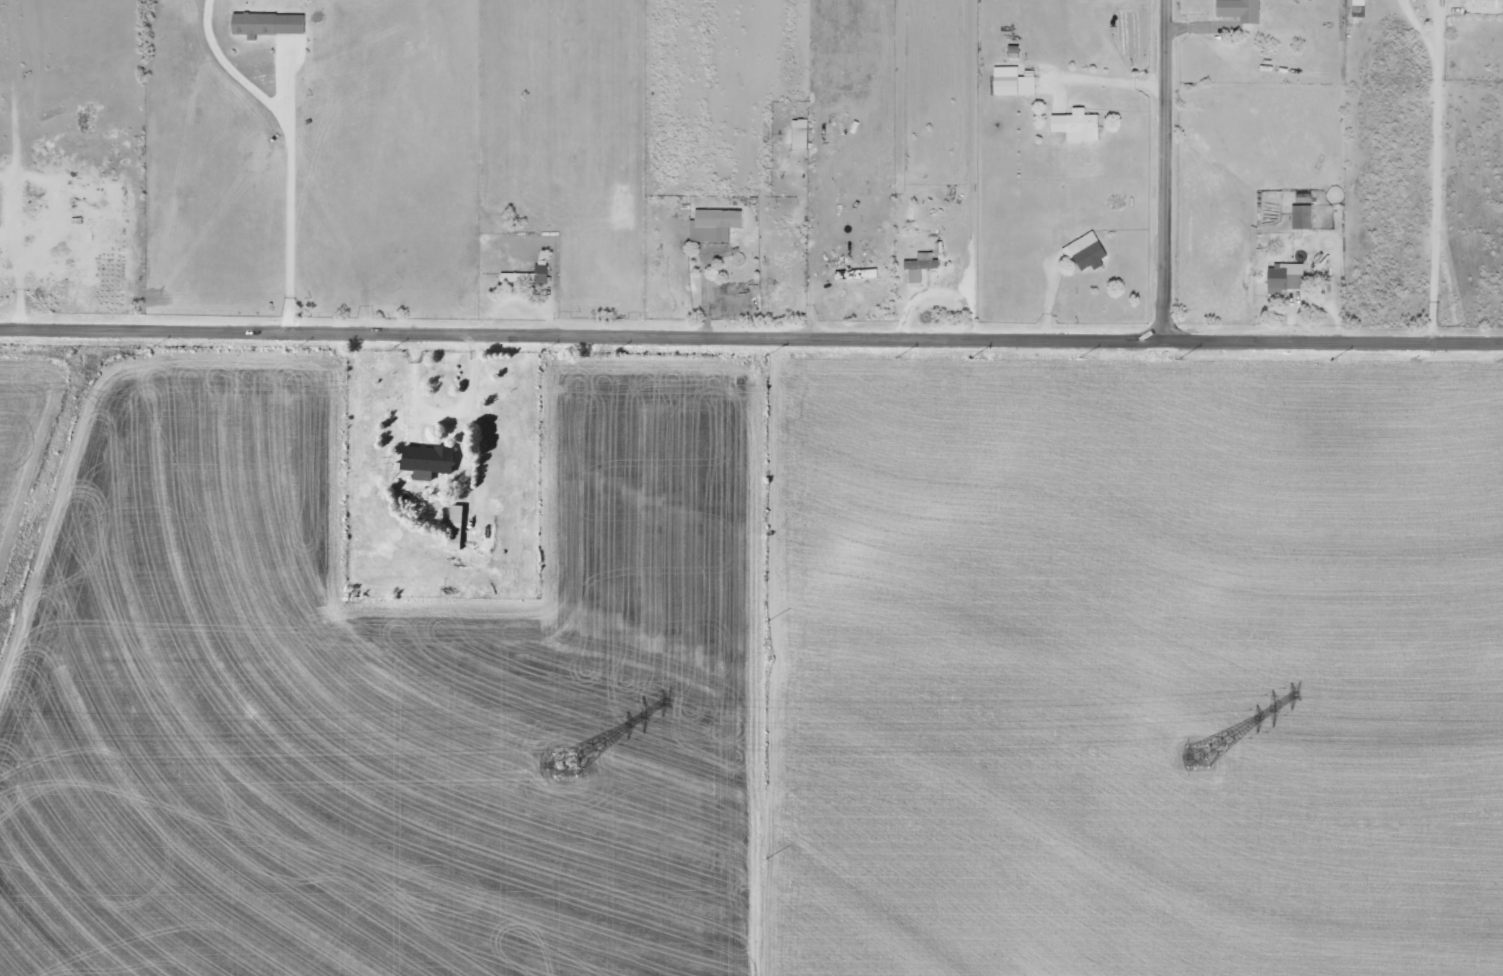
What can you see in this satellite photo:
building: (1357, 6)
building: (1483, 6)
building: (1237, 10)
building: (265, 23)
building: (1011, 81)
building: (1075, 125)
building: (797, 134)
road: (1177, 156)
building: (1299, 217)
building: (712, 224)
building: (1084, 252)
building: (920, 261)
building: (525, 275)
building: (1283, 278)
road: (751, 313)
building: (424, 460)
building: (453, 526)
power tower: (1194, 757)
power tower: (562, 765)

